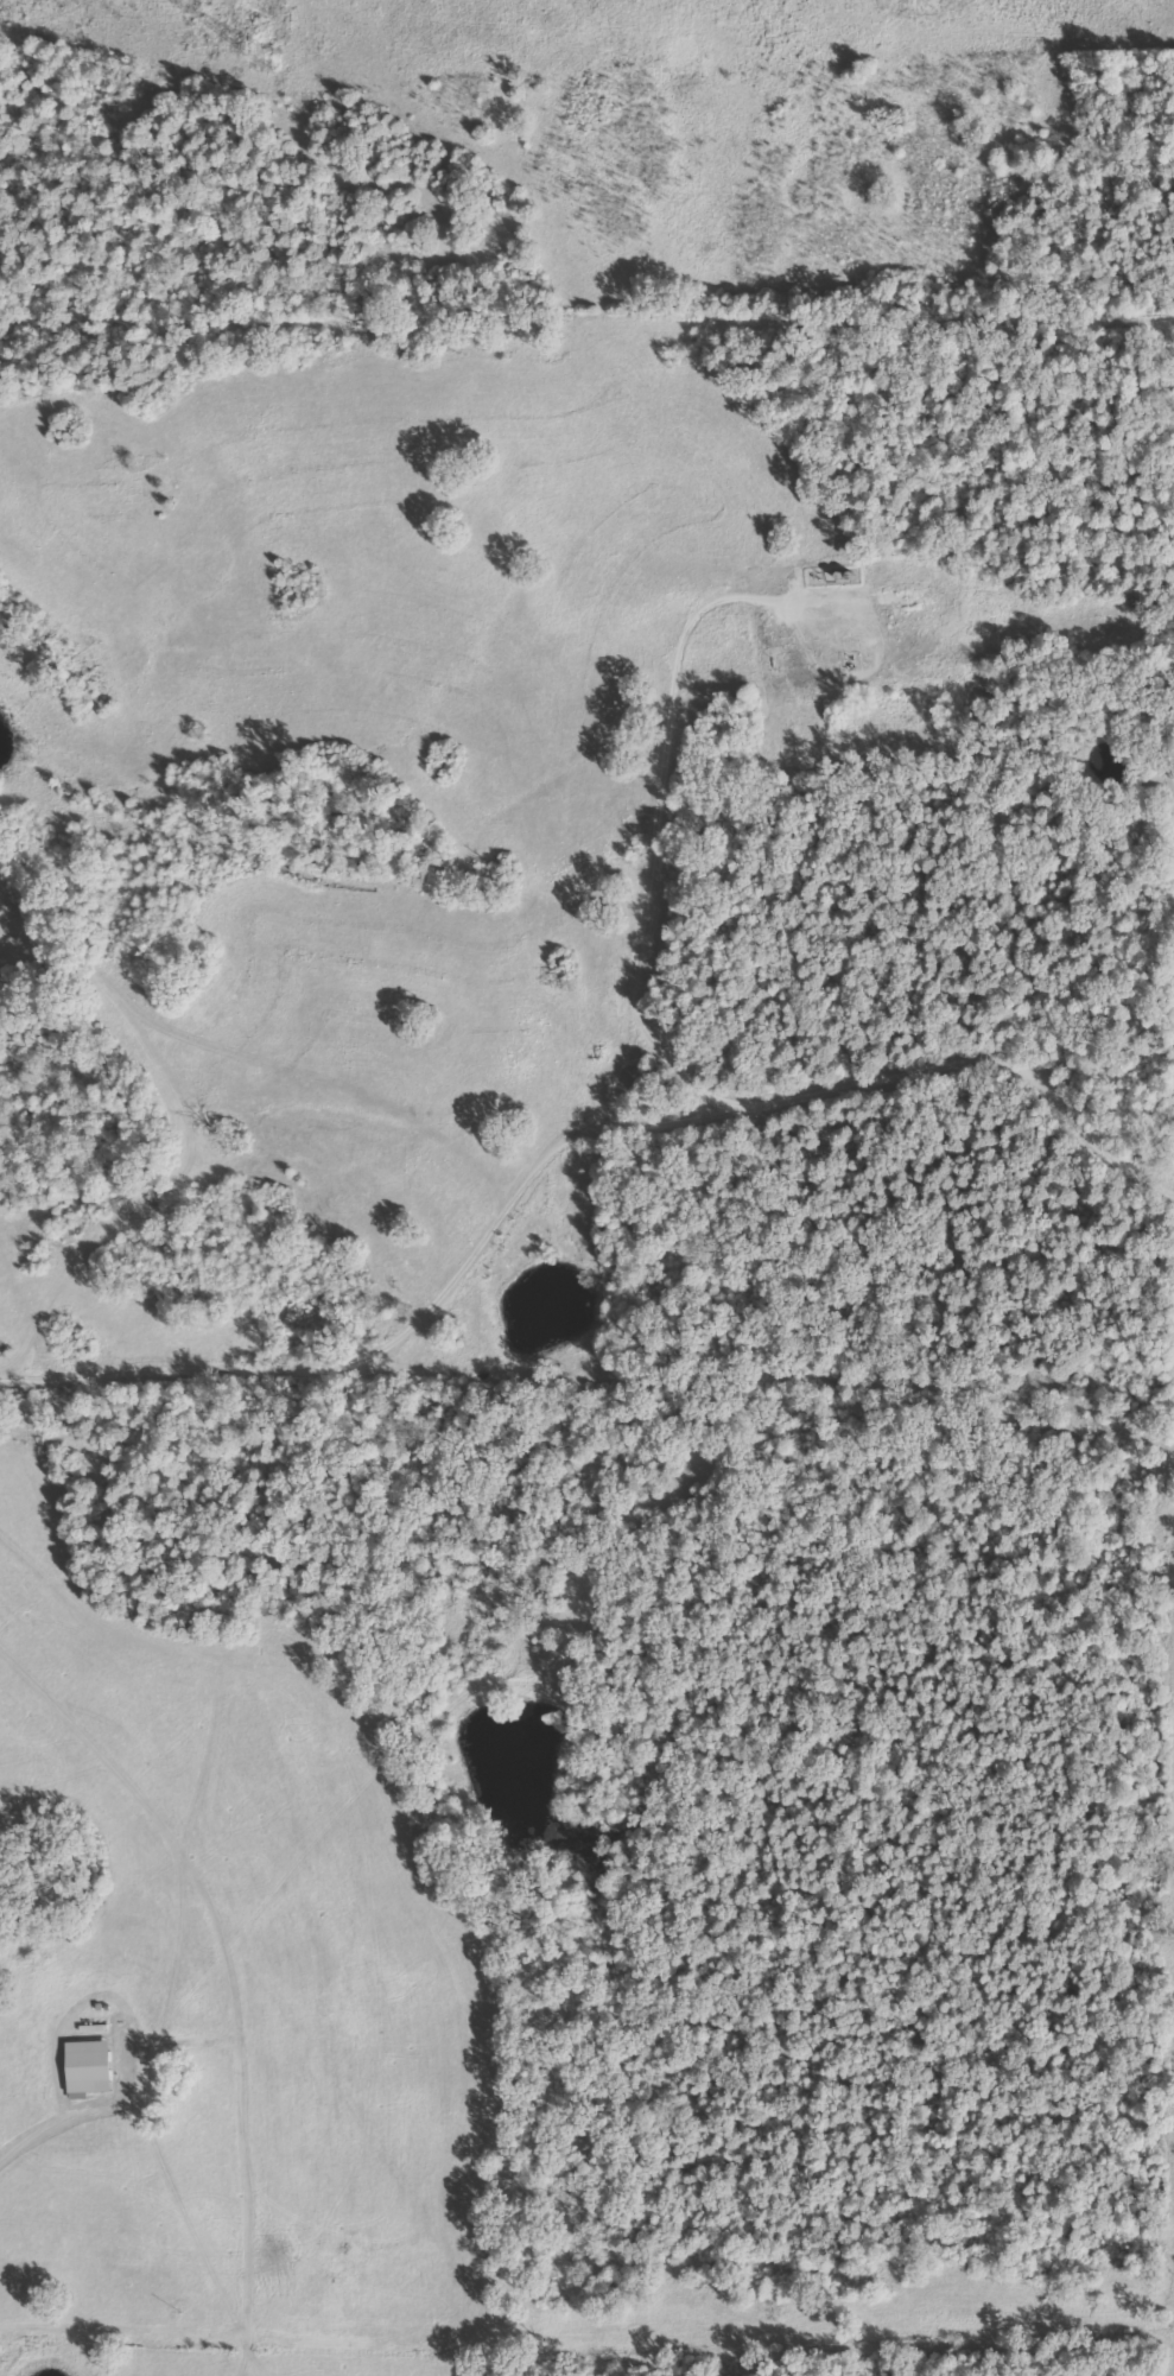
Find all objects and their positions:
power tower: (269, 6)
road: (594, 1095)
building: (88, 2068)

